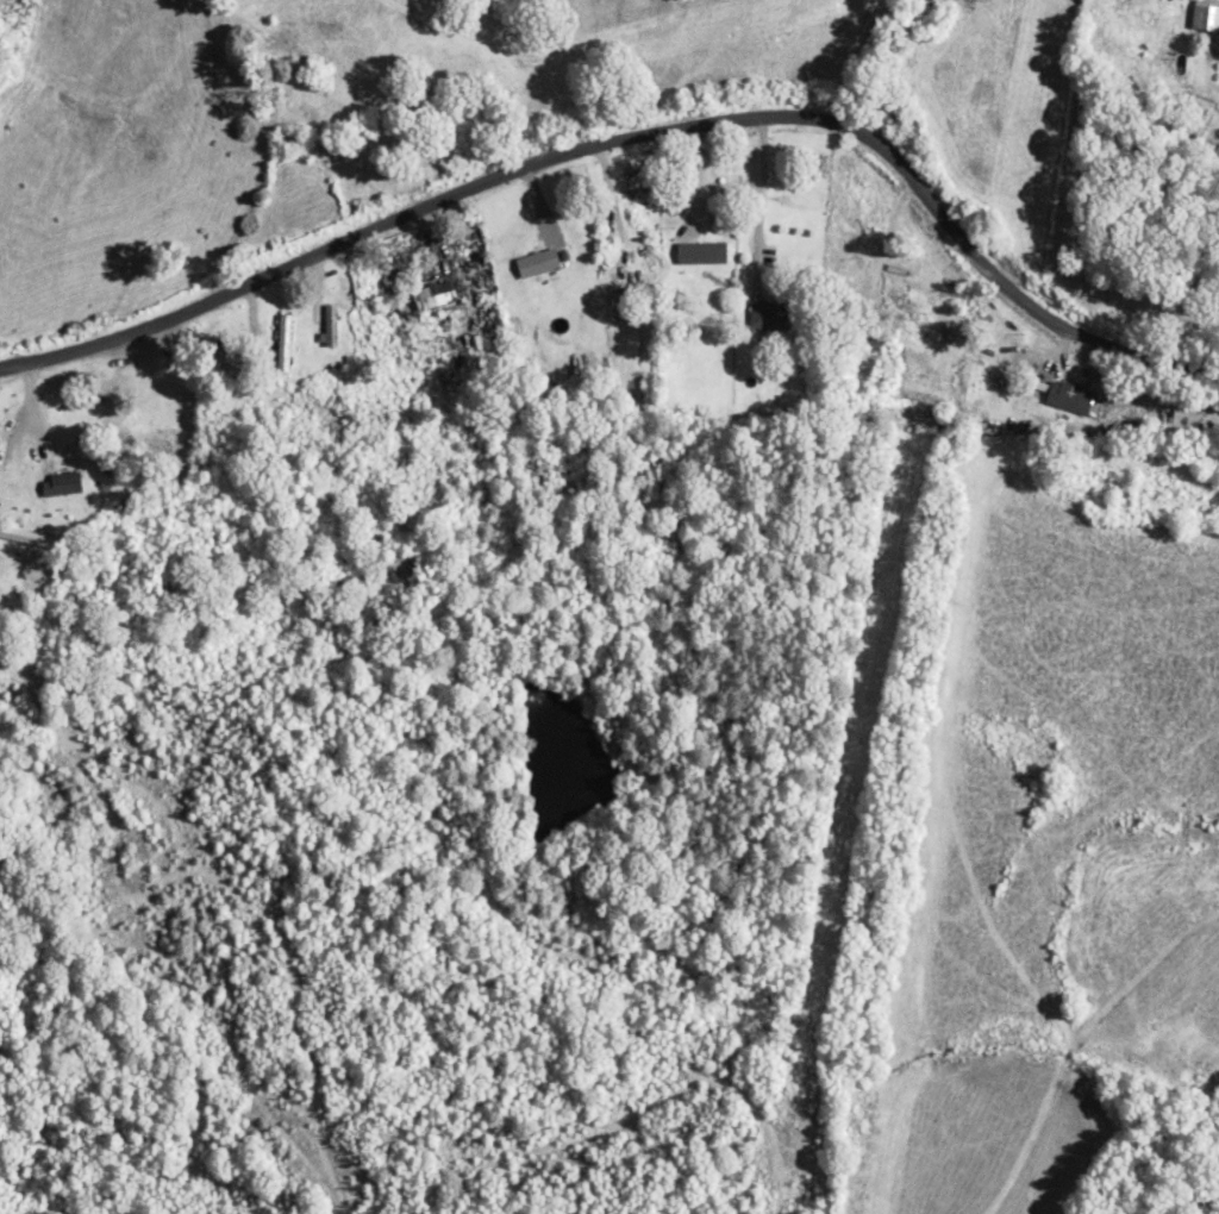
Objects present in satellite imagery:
building: (1205, 14)
building: (287, 137)
road: (619, 142)
building: (696, 251)
building: (537, 262)
building: (637, 290)
building: (433, 295)
building: (769, 313)
building: (330, 324)
building: (864, 339)
road: (615, 387)
building: (1068, 396)
building: (146, 436)
building: (61, 483)

